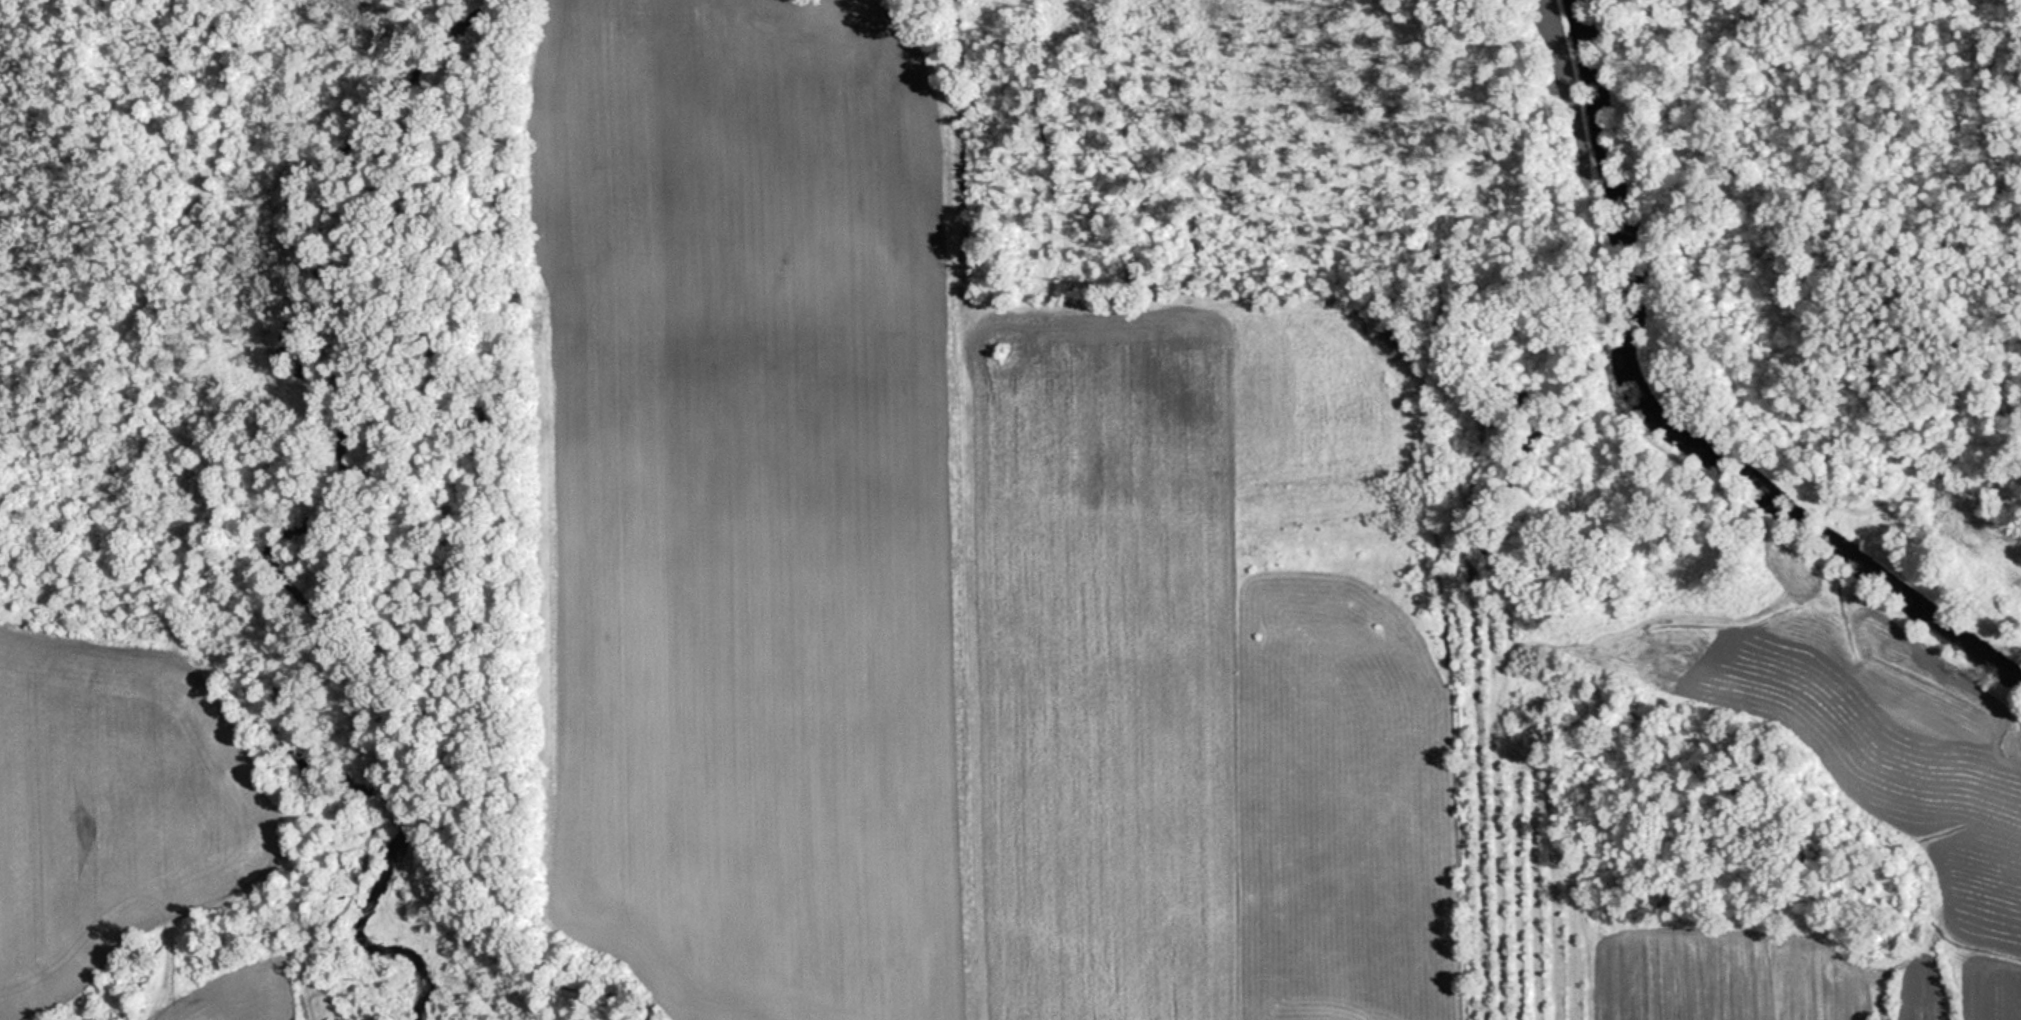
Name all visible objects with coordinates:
river: (1664, 420)

